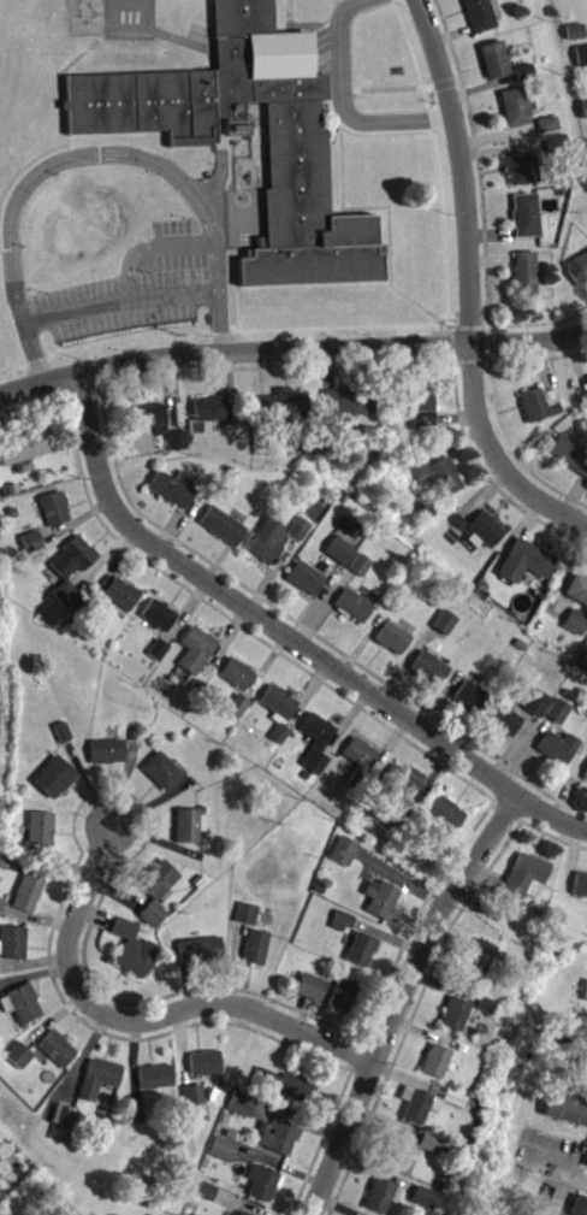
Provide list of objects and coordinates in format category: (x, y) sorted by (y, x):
building: (480, 14)
road: (289, 24)
building: (575, 31)
road: (184, 39)
building: (580, 54)
building: (492, 59)
building: (522, 72)
road: (456, 77)
road: (443, 81)
road: (379, 87)
road: (343, 107)
building: (512, 107)
building: (581, 108)
road: (63, 124)
building: (546, 124)
road: (358, 130)
building: (295, 143)
building: (555, 143)
building: (583, 143)
road: (93, 154)
building: (585, 164)
building: (518, 167)
building: (559, 191)
road: (386, 211)
road: (482, 211)
building: (526, 216)
road: (380, 244)
road: (152, 246)
building: (576, 267)
building: (522, 275)
road: (469, 284)
parking lot: (131, 289)
road: (119, 300)
road: (452, 318)
road: (402, 323)
road: (457, 324)
road: (469, 324)
road: (484, 324)
road: (440, 326)
road: (486, 326)
road: (451, 328)
road: (486, 341)
road: (291, 349)
road: (488, 356)
building: (586, 377)
building: (586, 379)
building: (583, 400)
road: (491, 402)
building: (538, 403)
building: (349, 405)
building: (211, 407)
building: (284, 407)
building: (422, 407)
building: (153, 417)
building: (179, 440)
building: (387, 443)
building: (22, 447)
building: (568, 454)
building: (435, 472)
building: (10, 486)
building: (174, 488)
building: (1, 491)
building: (57, 508)
building: (431, 509)
building: (12, 512)
building: (456, 519)
building: (225, 525)
building: (301, 527)
building: (481, 530)
building: (31, 541)
building: (269, 541)
building: (342, 549)
building: (76, 556)
building: (528, 561)
building: (362, 564)
building: (307, 577)
building: (484, 586)
building: (579, 588)
building: (67, 592)
building: (123, 592)
building: (503, 594)
building: (434, 602)
building: (355, 604)
building: (161, 614)
building: (441, 620)
building: (576, 621)
road: (287, 637)
building: (395, 637)
building: (521, 644)
building: (159, 649)
building: (198, 649)
building: (583, 659)
building: (432, 667)
building: (237, 673)
building: (197, 685)
building: (569, 695)
building: (474, 697)
building: (539, 702)
building: (237, 704)
building: (280, 710)
building: (561, 710)
building: (506, 719)
building: (64, 731)
building: (191, 732)
building: (134, 735)
building: (319, 741)
building: (562, 747)
building: (108, 750)
building: (361, 763)
building: (164, 771)
building: (303, 774)
building: (55, 777)
building: (585, 778)
building: (404, 784)
building: (449, 812)
building: (191, 824)
building: (395, 824)
building: (41, 827)
building: (433, 841)
building: (346, 850)
building: (160, 878)
building: (196, 879)
building: (526, 879)
building: (581, 884)
building: (319, 887)
building: (28, 889)
building: (379, 897)
building: (0, 901)
building: (481, 904)
building: (154, 914)
building: (248, 914)
building: (344, 920)
building: (11, 942)
building: (259, 946)
building: (135, 948)
building: (202, 949)
building: (363, 949)
building: (480, 961)
building: (313, 986)
building: (345, 996)
building: (586, 997)
road: (401, 998)
building: (23, 1002)
building: (486, 1004)
building: (456, 1013)
road: (138, 1019)
building: (459, 1046)
building: (58, 1048)
building: (19, 1055)
building: (437, 1060)
building: (207, 1062)
building: (156, 1075)
building: (100, 1078)
building: (265, 1079)
building: (300, 1087)
building: (195, 1095)
building: (215, 1095)
building: (425, 1099)
building: (244, 1103)
building: (568, 1107)
building: (138, 1111)
building: (65, 1114)
building: (262, 1125)
building: (232, 1133)
building: (281, 1137)
building: (71, 1138)
building: (431, 1143)
building: (225, 1149)
building: (401, 1149)
building: (1, 1158)
building: (586, 1166)
building: (152, 1181)
building: (266, 1181)
building: (207, 1190)
building: (0, 1191)
building: (381, 1195)
building: (426, 1196)
building: (581, 1205)
building: (245, 1213)
building: (238, 1214)

